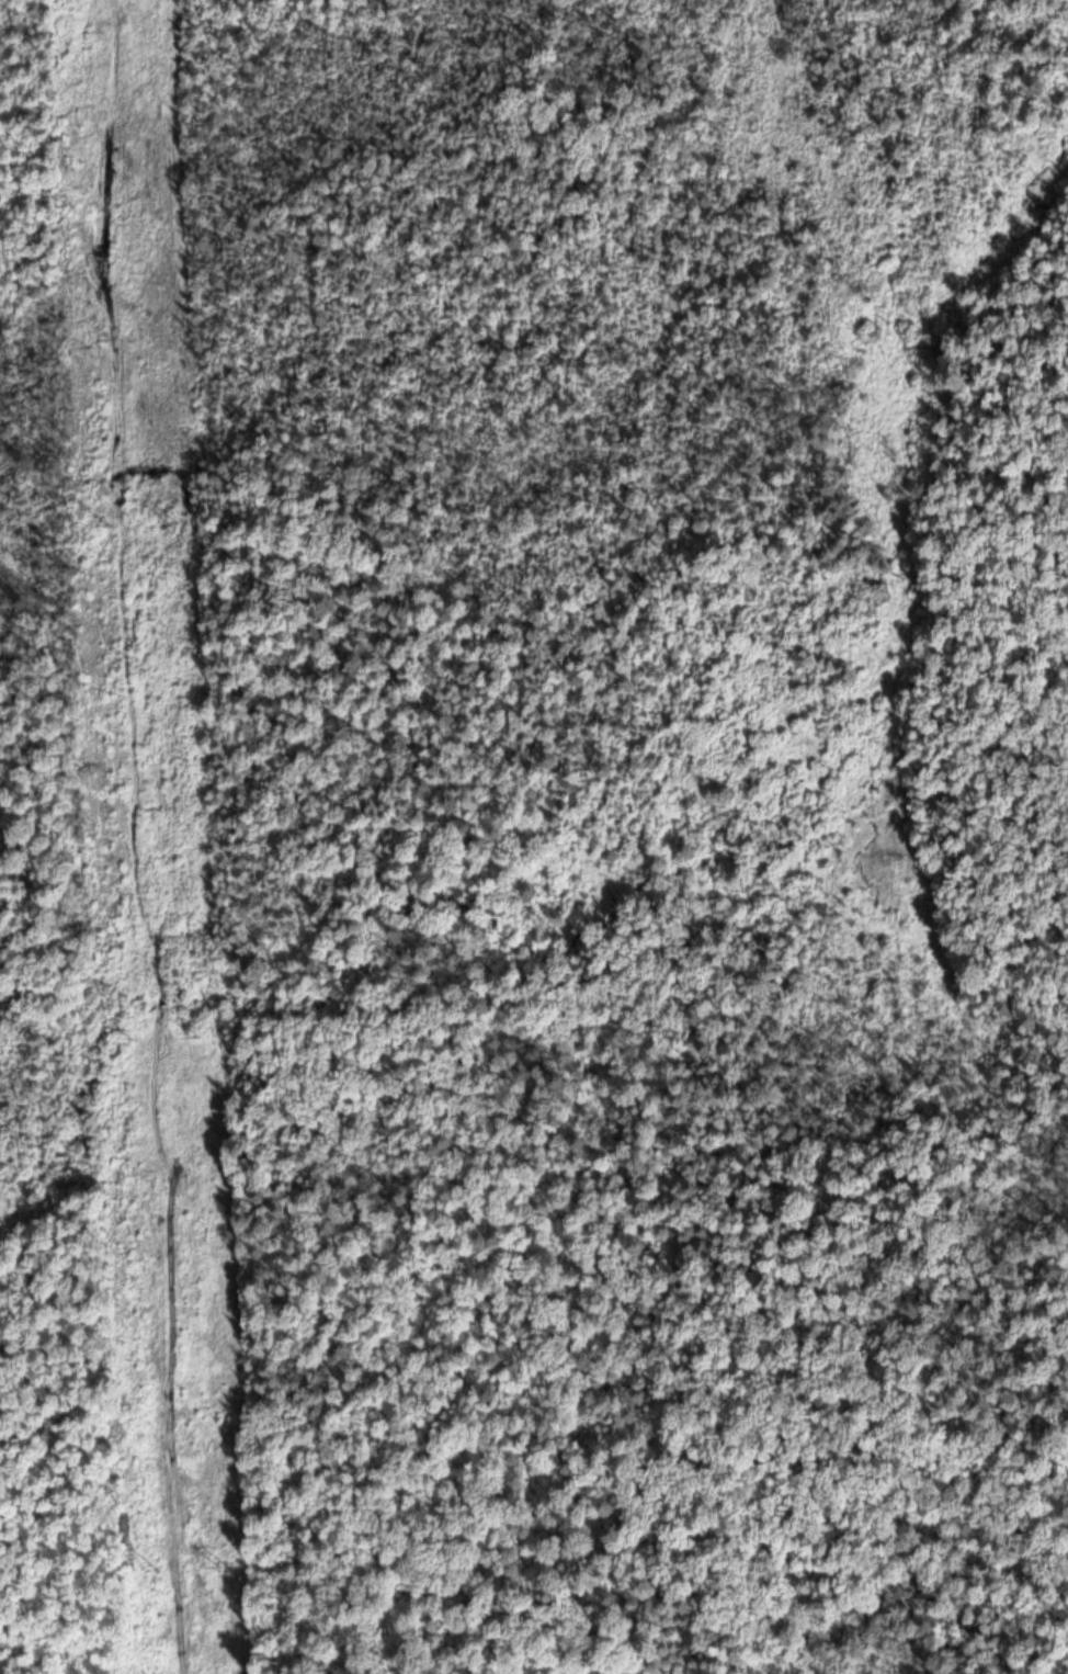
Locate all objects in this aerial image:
river: (274, 541)

